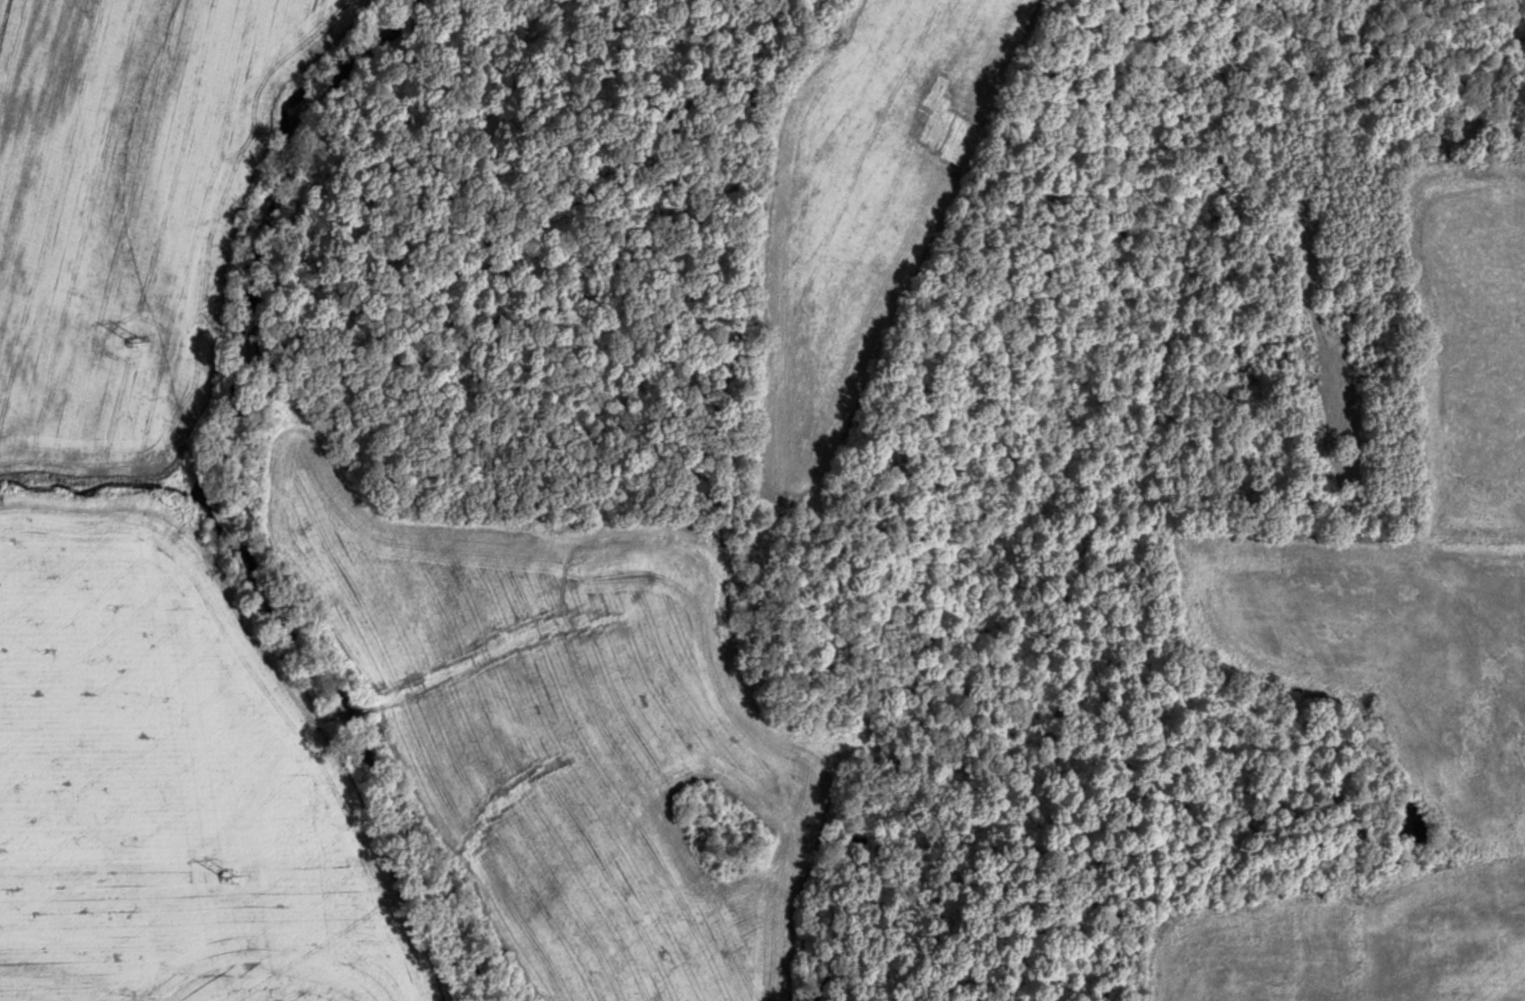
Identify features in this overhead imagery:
power tower: (135, 343)
power tower: (226, 877)

